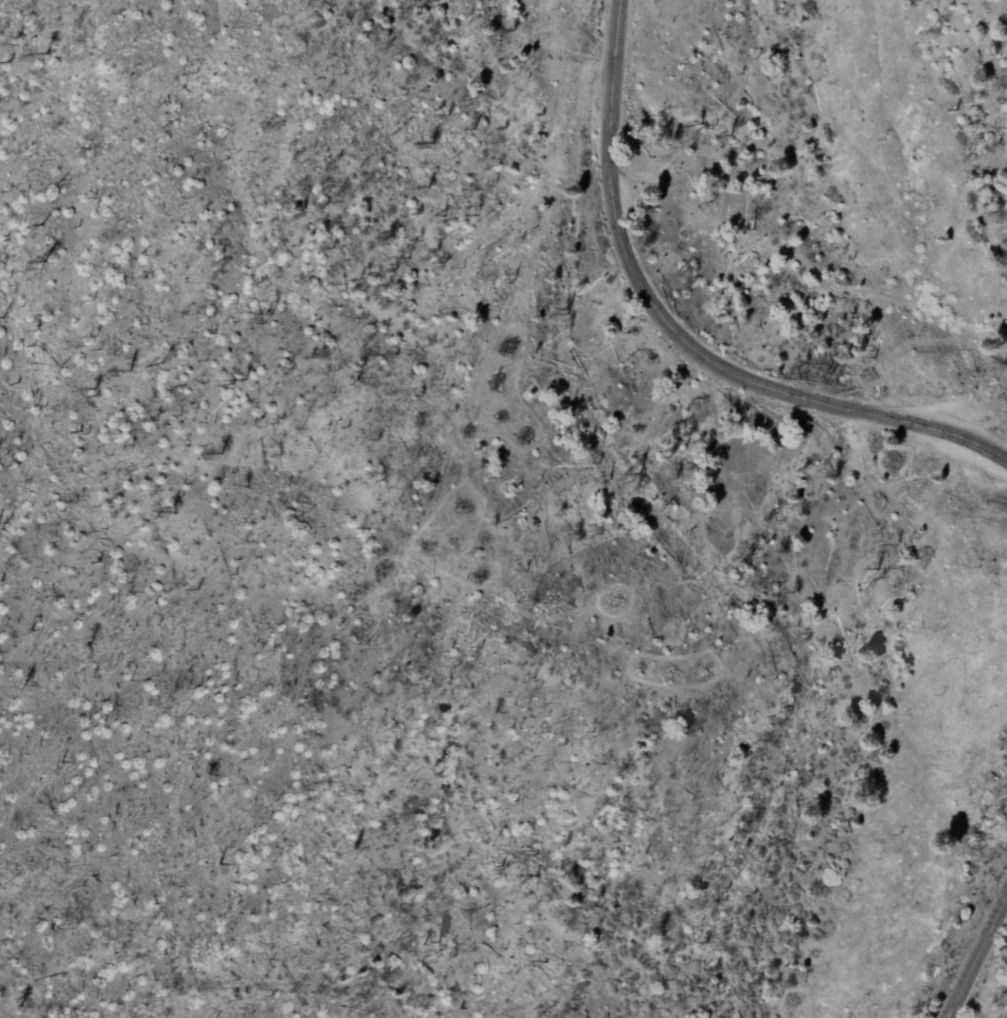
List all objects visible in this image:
road: (674, 339)
road: (974, 956)

